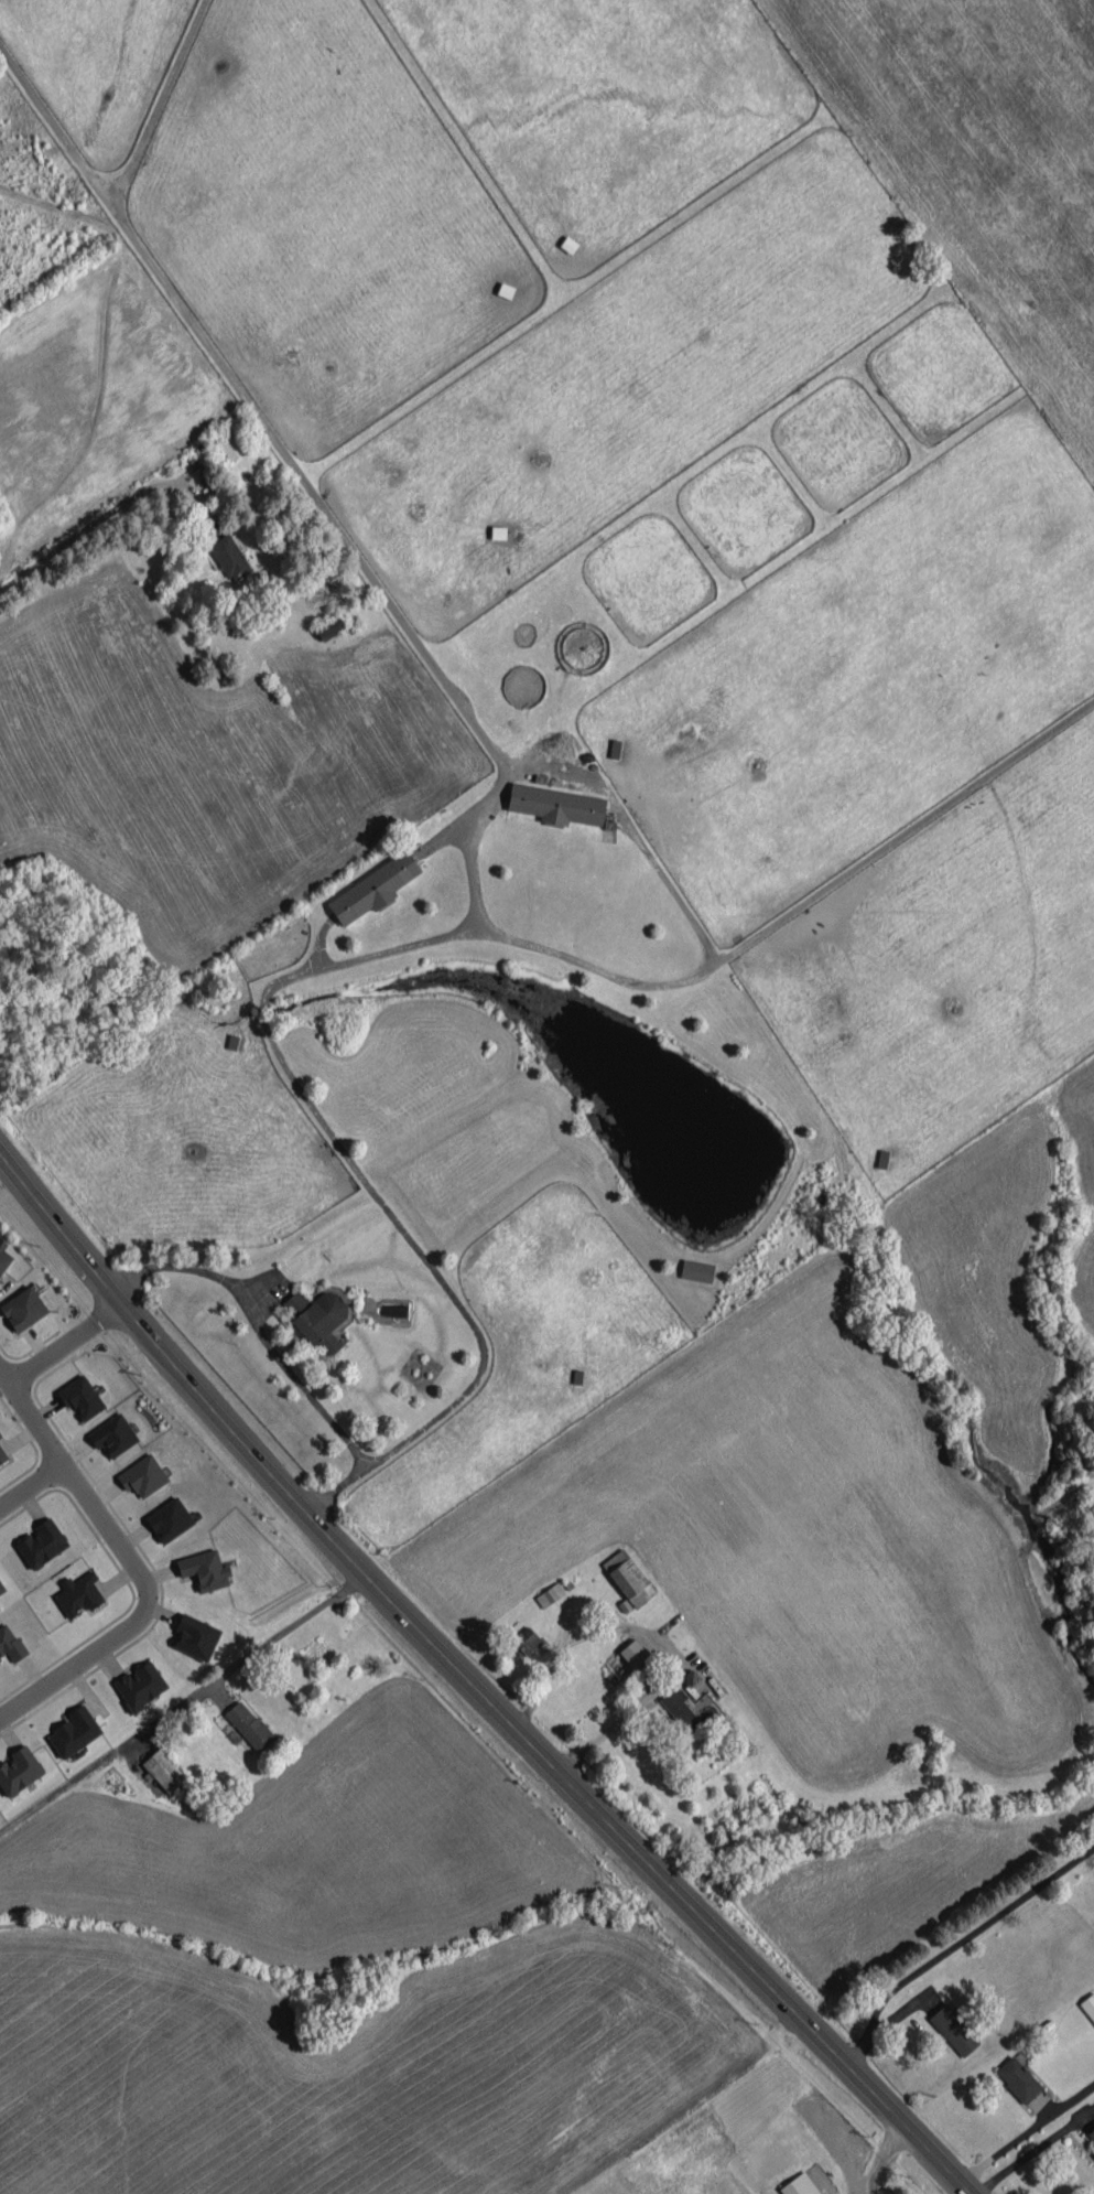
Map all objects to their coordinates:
road: (299, 477)
road: (110, 510)
building: (229, 557)
building: (329, 627)
building: (556, 805)
building: (373, 888)
road: (351, 957)
building: (3, 1255)
building: (696, 1270)
building: (23, 1308)
building: (317, 1316)
road: (254, 1324)
road: (58, 1345)
road: (4, 1381)
building: (80, 1397)
road: (35, 1421)
building: (112, 1434)
building: (0, 1446)
building: (142, 1475)
road: (30, 1486)
road: (335, 1488)
building: (169, 1519)
building: (41, 1542)
building: (204, 1570)
building: (628, 1577)
building: (1, 1588)
building: (77, 1593)
road: (142, 1614)
building: (195, 1636)
road: (651, 1637)
building: (526, 1641)
building: (10, 1643)
building: (632, 1653)
road: (474, 1681)
building: (140, 1685)
road: (178, 1704)
building: (678, 1708)
building: (249, 1724)
building: (74, 1731)
building: (19, 1770)
road: (954, 1945)
building: (1088, 2005)
building: (953, 2030)
building: (1017, 2078)
building: (1091, 2136)
road: (1004, 2147)
road: (1031, 2150)
road: (884, 2161)
building: (799, 2185)

